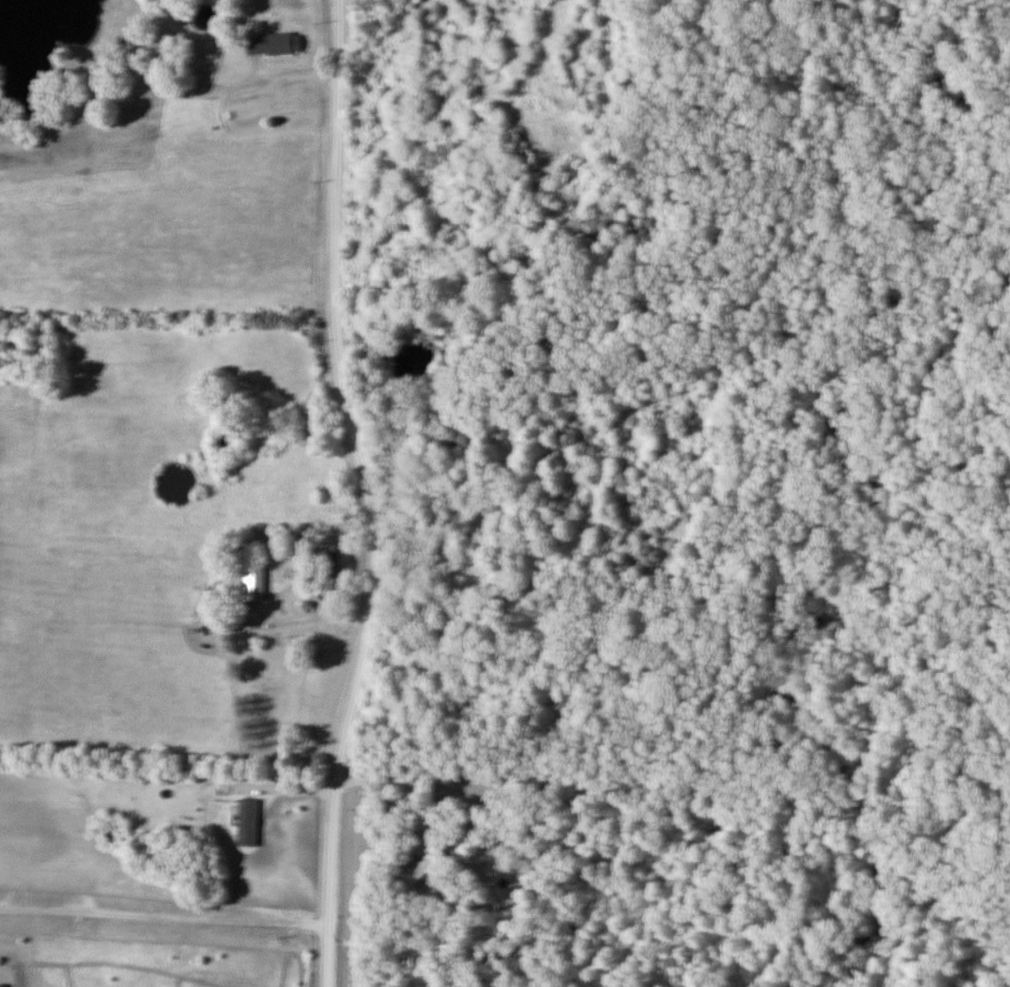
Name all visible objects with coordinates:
building: (283, 42)
road: (356, 494)
building: (329, 560)
building: (254, 584)
building: (250, 820)
building: (425, 858)
road: (163, 912)

